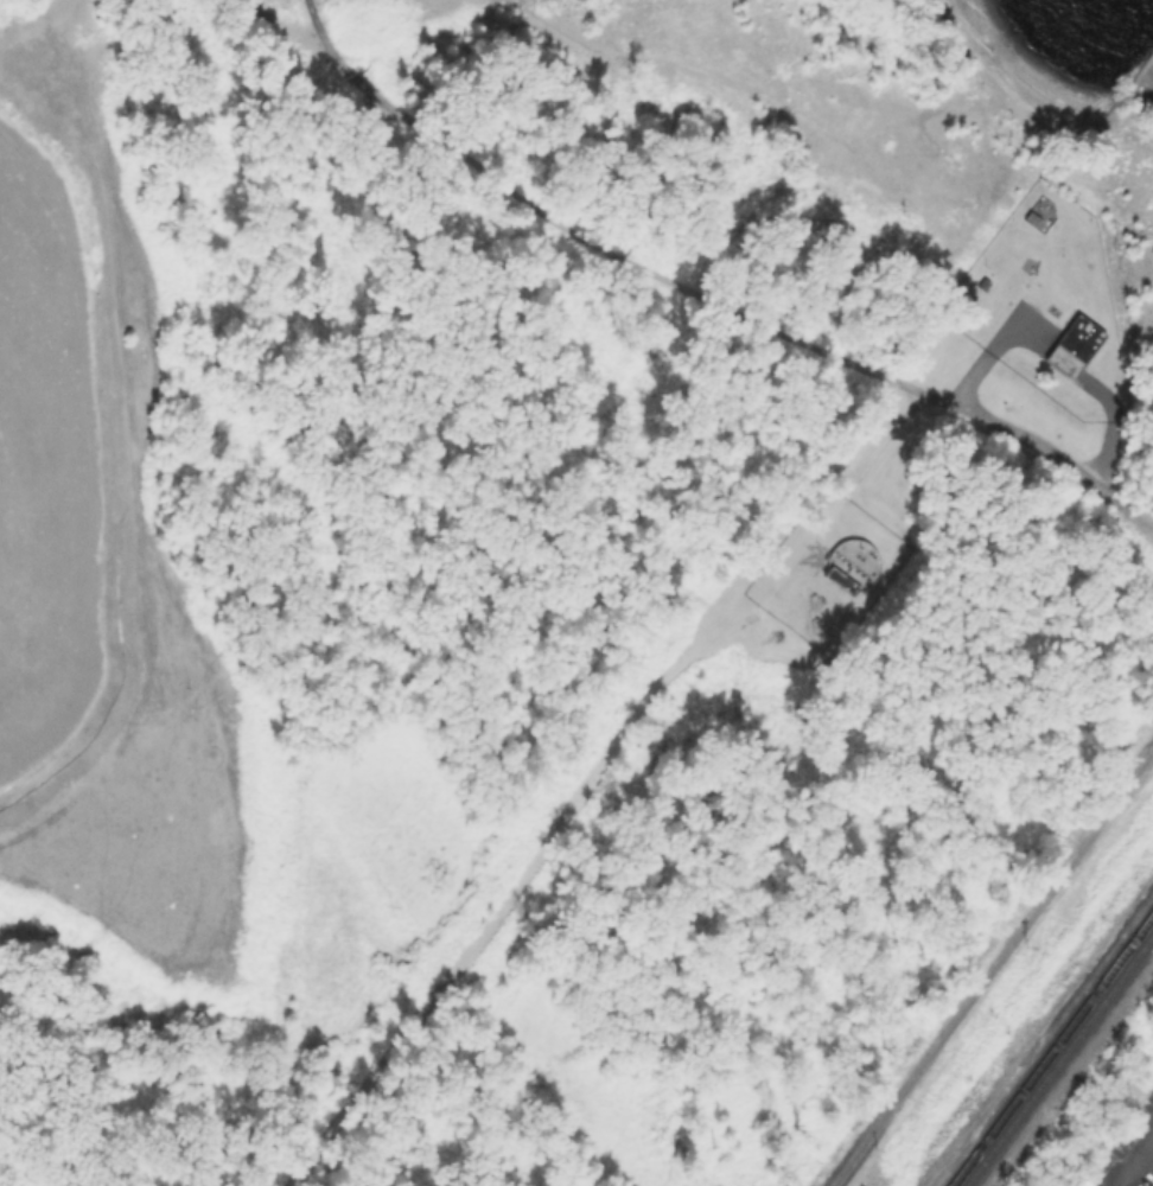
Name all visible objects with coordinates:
road: (288, 30)
road: (327, 43)
building: (821, 191)
building: (1043, 213)
building: (1031, 266)
building: (1036, 280)
building: (985, 285)
building: (1056, 311)
road: (747, 319)
building: (1075, 346)
road: (986, 353)
road: (1108, 423)
road: (128, 447)
building: (854, 563)
building: (817, 601)
building: (818, 625)
road: (520, 885)
road: (990, 967)
railway: (1074, 1015)
railway: (1078, 1028)
road: (1040, 1035)
railway: (972, 1154)
railway: (982, 1158)
road: (1134, 1162)
building: (1082, 1182)

